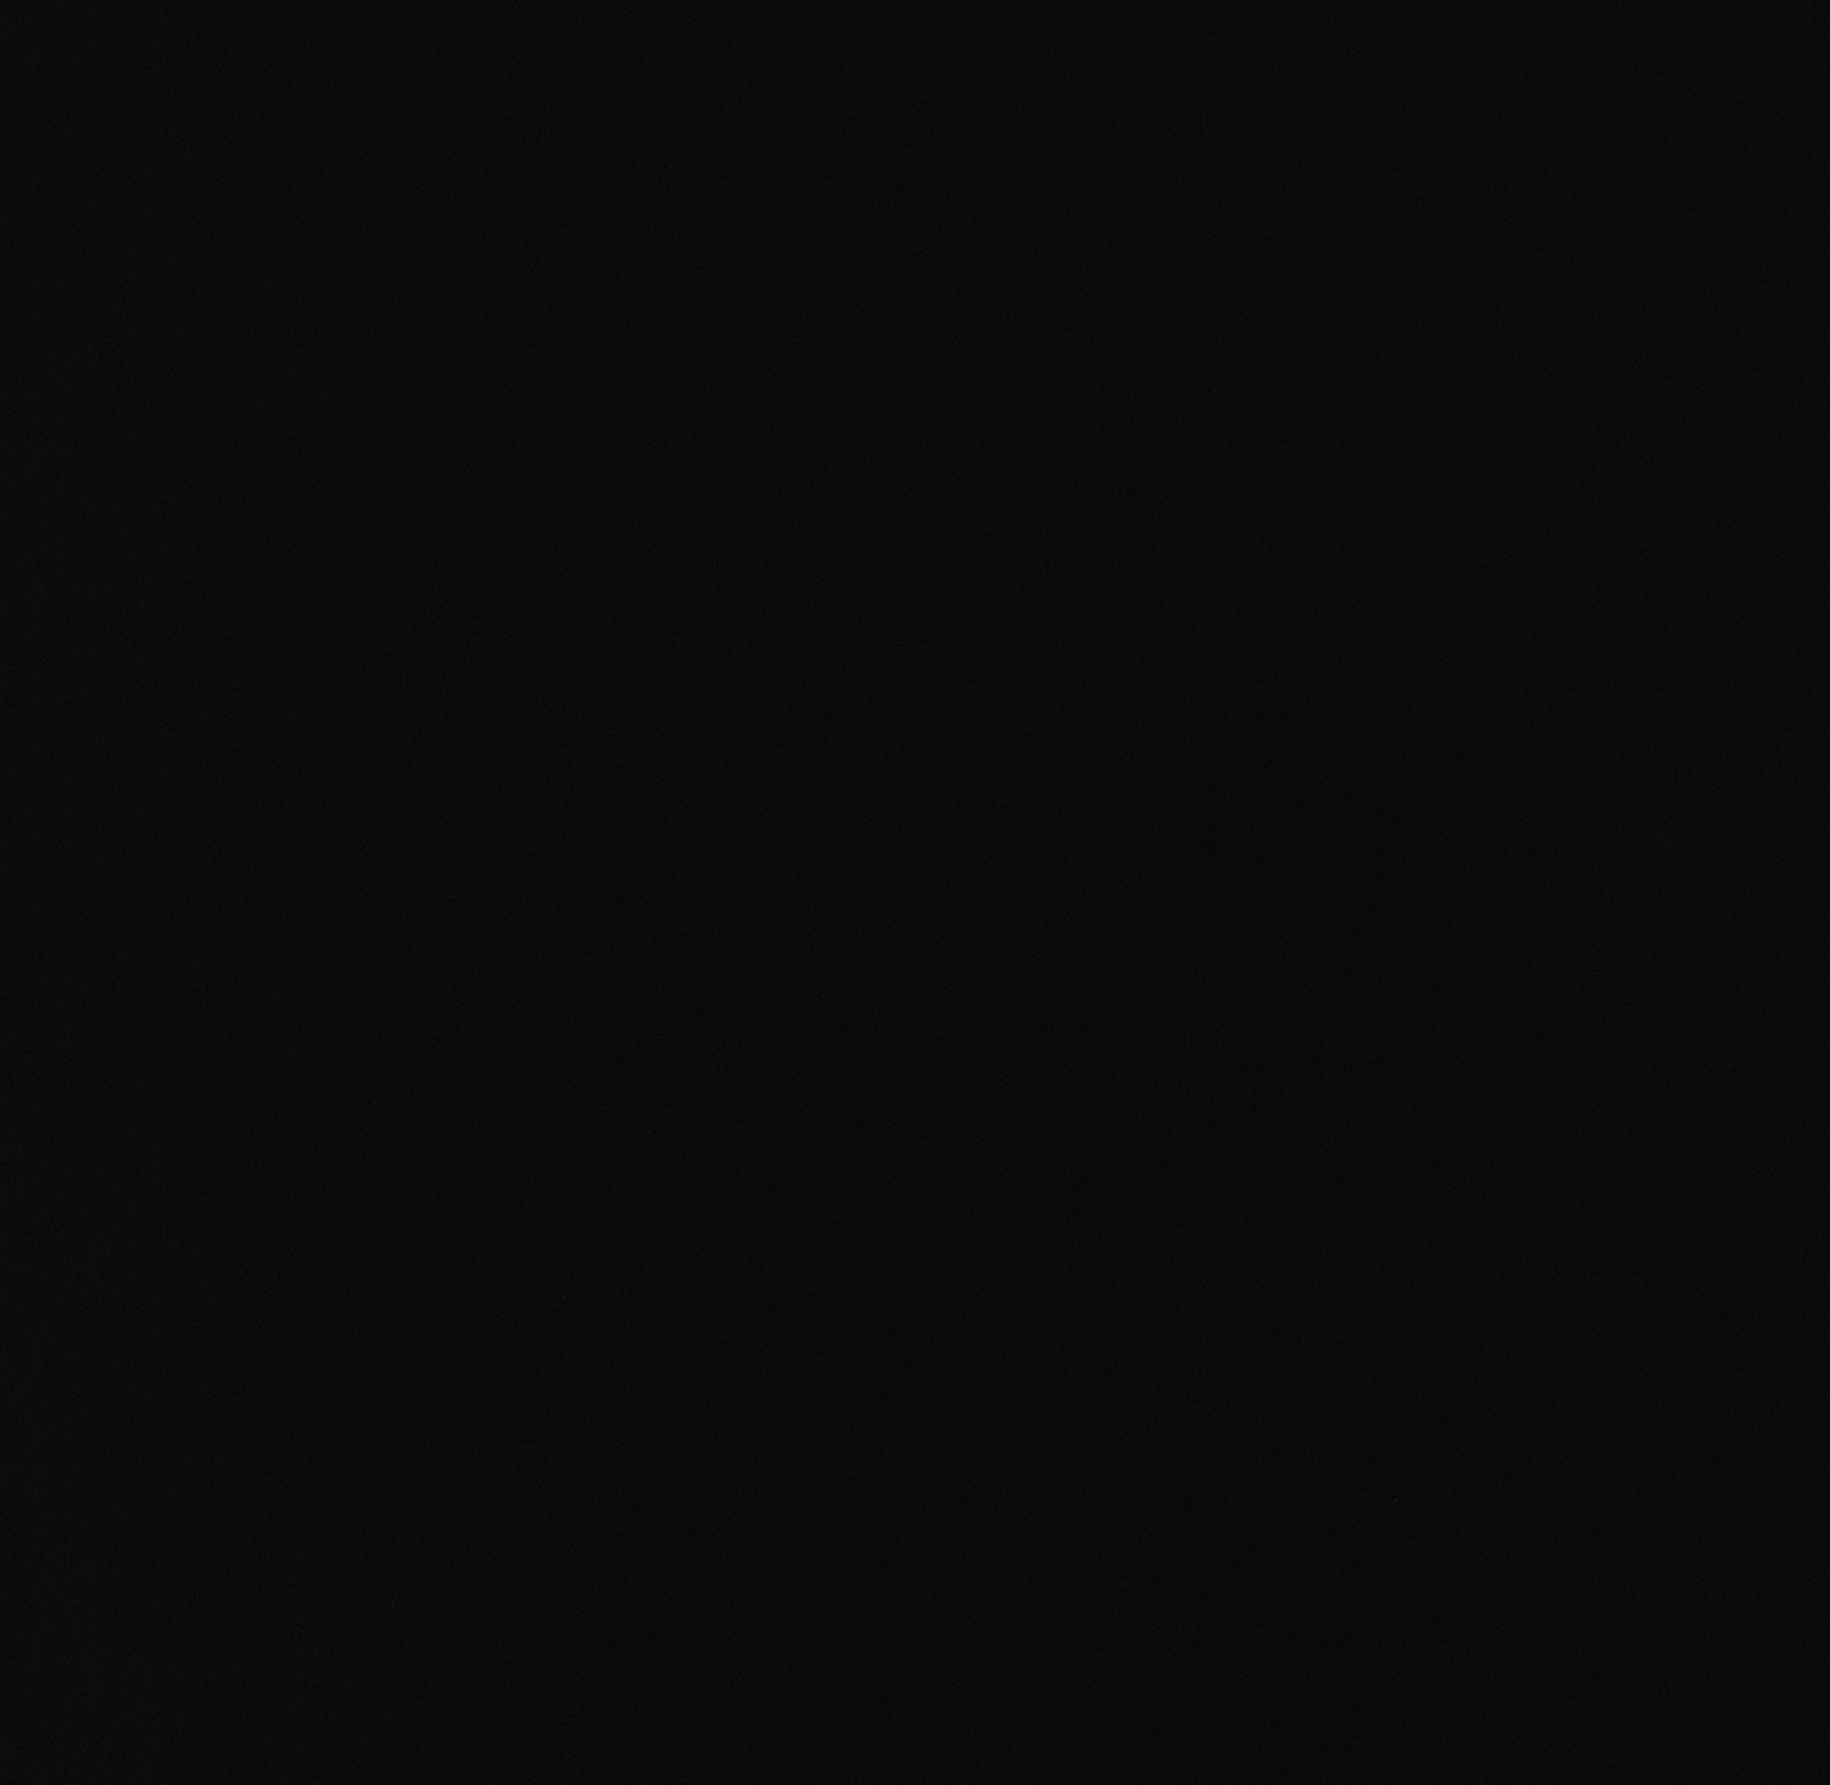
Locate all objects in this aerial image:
river: (474, 708)
river: (1389, 1118)

